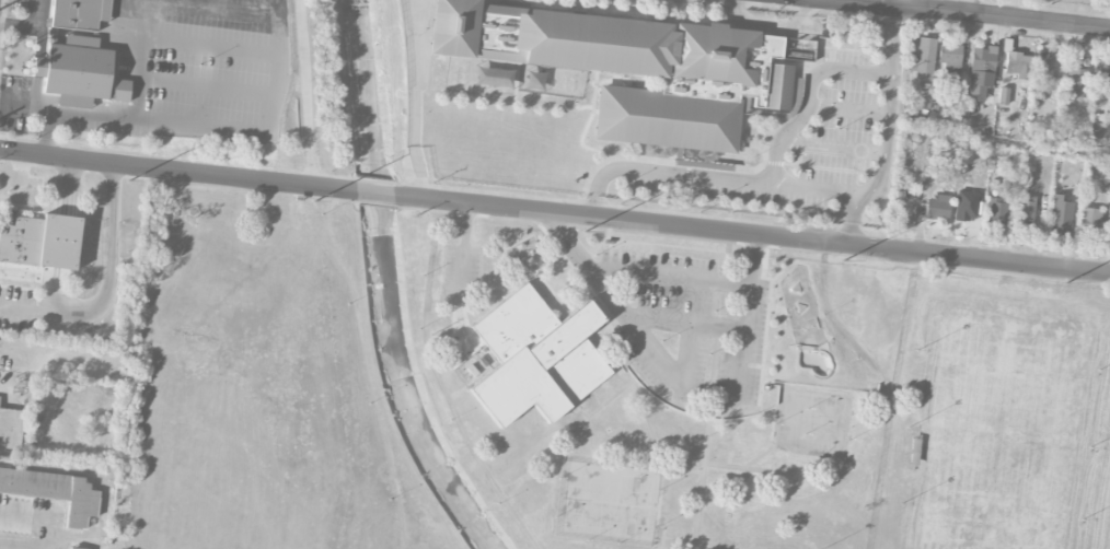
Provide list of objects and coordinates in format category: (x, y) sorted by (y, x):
road: (900, 3)
road: (207, 9)
road: (967, 14)
road: (771, 22)
road: (21, 25)
road: (41, 27)
road: (895, 40)
road: (844, 47)
road: (210, 48)
building: (77, 56)
road: (833, 57)
building: (923, 57)
building: (949, 57)
road: (139, 59)
road: (540, 63)
building: (1017, 65)
building: (1043, 65)
road: (38, 66)
building: (633, 66)
building: (981, 71)
building: (1103, 75)
road: (517, 79)
building: (1076, 82)
road: (207, 87)
road: (35, 92)
road: (304, 93)
road: (808, 95)
building: (1003, 95)
building: (745, 96)
road: (796, 96)
road: (579, 107)
road: (847, 108)
road: (766, 113)
road: (588, 121)
road: (742, 122)
road: (201, 126)
road: (46, 133)
road: (949, 137)
road: (884, 142)
road: (414, 143)
parking lot: (812, 143)
road: (742, 147)
road: (831, 147)
road: (745, 151)
road: (799, 154)
road: (645, 157)
flagpole: (751, 157)
building: (697, 162)
road: (809, 166)
road: (176, 171)
road: (666, 173)
road: (687, 177)
power tower: (128, 180)
road: (813, 188)
road: (373, 192)
power tower: (313, 201)
building: (936, 209)
building: (996, 211)
building: (1025, 212)
building: (1060, 214)
road: (852, 219)
building: (1088, 220)
power tower: (585, 232)
road: (751, 234)
building: (41, 242)
road: (751, 260)
power tower: (844, 260)
road: (588, 264)
road: (460, 273)
road: (670, 277)
power tower: (1066, 284)
road: (106, 288)
road: (659, 319)
park: (805, 323)
parking lot: (691, 325)
road: (686, 346)
road: (13, 351)
building: (536, 360)
road: (739, 363)
park: (600, 389)
park: (828, 423)
building: (10, 428)
road: (104, 474)
building: (54, 492)
park: (576, 499)
park: (633, 505)
road: (27, 513)
road: (53, 526)
road: (25, 546)
building: (74, 548)

